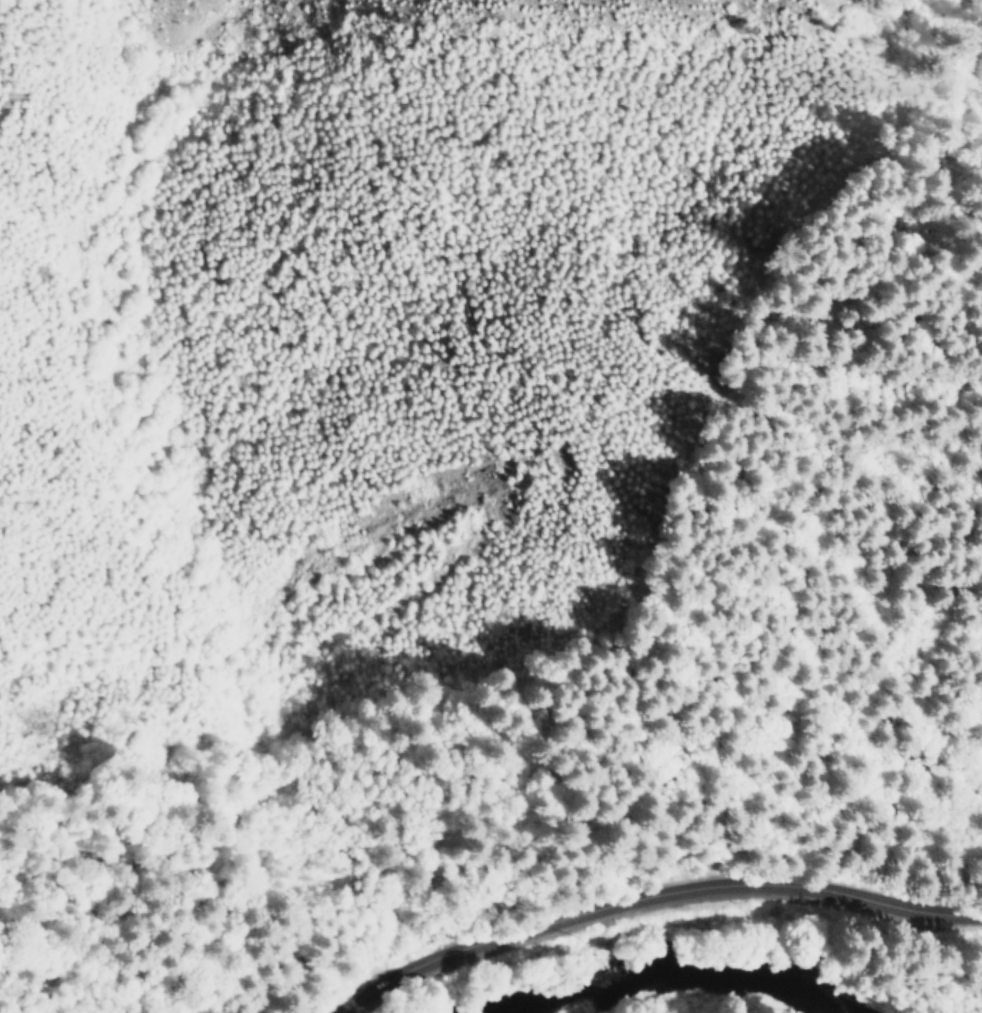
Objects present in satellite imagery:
road: (646, 898)
river: (638, 988)

